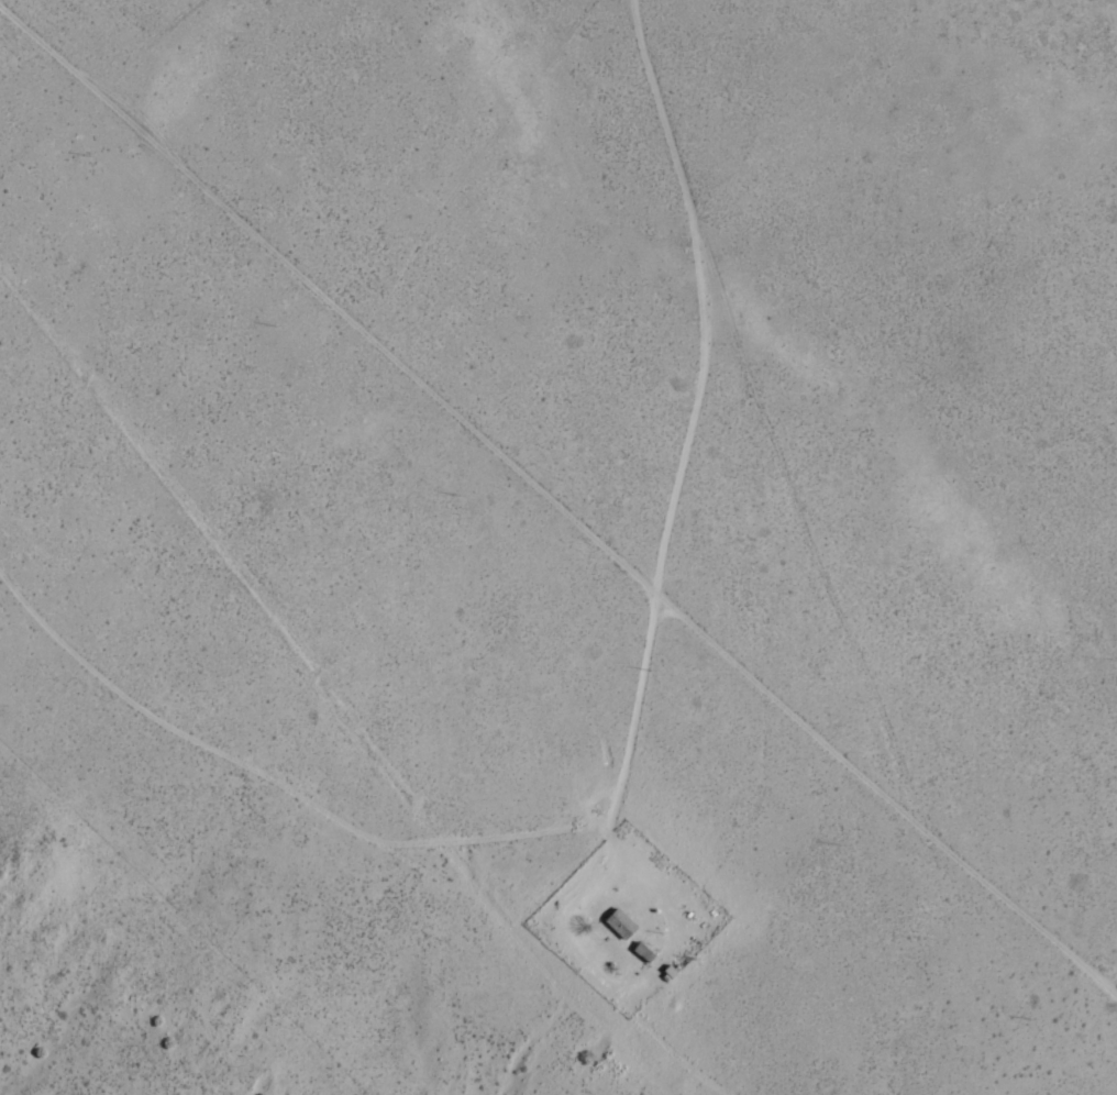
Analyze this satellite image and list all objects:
road: (440, 427)
road: (776, 573)
building: (620, 923)
building: (643, 951)

